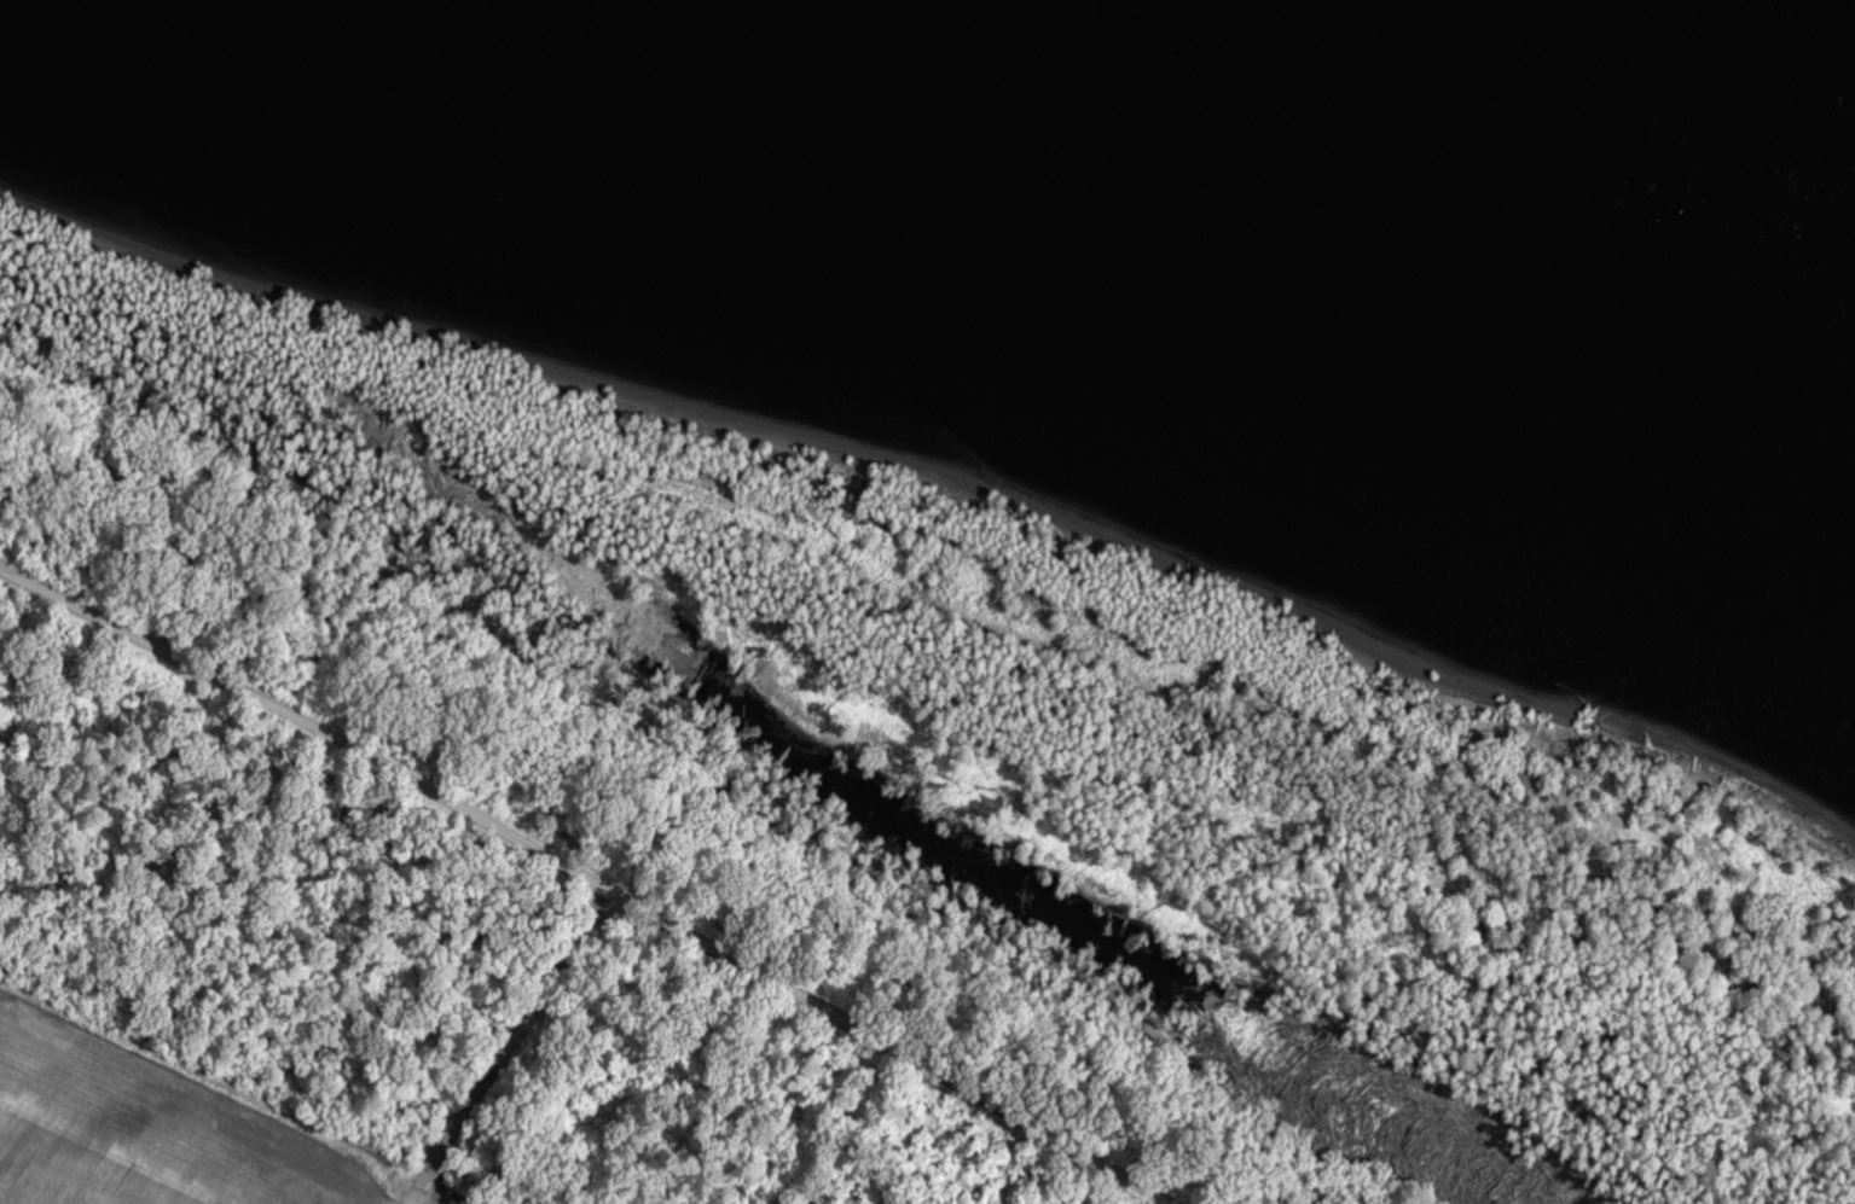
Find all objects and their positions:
river: (1764, 42)
road: (586, 882)

